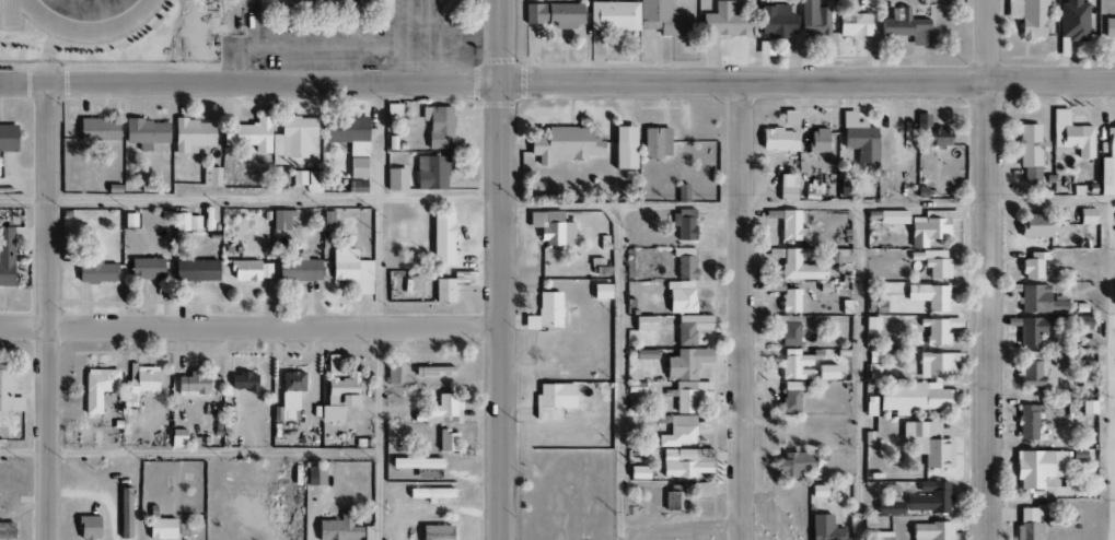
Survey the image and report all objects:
building: (369, 0)
building: (554, 14)
building: (613, 16)
building: (1027, 16)
building: (662, 17)
building: (813, 19)
building: (722, 21)
building: (775, 21)
building: (1071, 21)
building: (852, 24)
building: (904, 26)
building: (1108, 27)
stadium: (117, 28)
road: (414, 42)
building: (764, 48)
road: (557, 82)
building: (788, 118)
building: (438, 127)
building: (96, 130)
building: (144, 131)
building: (347, 133)
building: (190, 134)
building: (247, 134)
building: (291, 137)
building: (1069, 137)
building: (7, 138)
building: (858, 138)
building: (777, 140)
building: (816, 140)
building: (655, 142)
building: (564, 145)
building: (1029, 145)
building: (623, 148)
building: (1107, 165)
building: (357, 168)
building: (430, 172)
building: (1030, 175)
building: (210, 176)
building: (396, 179)
building: (306, 180)
building: (786, 187)
building: (682, 192)
road: (251, 199)
road: (808, 206)
building: (1085, 216)
building: (892, 218)
building: (278, 221)
building: (186, 222)
building: (685, 225)
building: (1032, 225)
building: (791, 226)
building: (929, 227)
building: (550, 228)
building: (440, 238)
building: (836, 256)
building: (5, 257)
building: (683, 262)
building: (936, 263)
building: (797, 265)
building: (1032, 265)
building: (144, 269)
building: (194, 270)
building: (244, 270)
building: (266, 270)
building: (299, 270)
building: (350, 270)
road: (501, 270)
road: (982, 270)
building: (95, 271)
building: (451, 285)
building: (428, 287)
building: (599, 291)
building: (932, 295)
building: (678, 296)
building: (789, 301)
building: (1039, 301)
road: (741, 310)
road: (49, 312)
road: (379, 312)
building: (545, 312)
building: (643, 322)
road: (249, 324)
building: (873, 325)
building: (689, 328)
building: (939, 329)
road: (1114, 329)
building: (788, 331)
building: (1030, 331)
building: (643, 354)
building: (684, 363)
building: (793, 365)
building: (938, 365)
road: (1112, 369)
road: (620, 373)
building: (824, 373)
road: (859, 373)
building: (391, 374)
building: (1036, 374)
building: (243, 381)
building: (291, 381)
building: (138, 384)
building: (198, 384)
building: (96, 388)
building: (685, 395)
building: (7, 397)
building: (789, 397)
building: (915, 398)
building: (551, 400)
building: (443, 407)
building: (283, 413)
building: (1027, 421)
building: (678, 432)
building: (174, 438)
building: (446, 441)
building: (929, 443)
road: (188, 451)
building: (686, 462)
building: (799, 463)
building: (1036, 467)
building: (637, 472)
building: (313, 476)
building: (702, 490)
building: (817, 491)
building: (430, 494)
building: (928, 498)
building: (888, 508)
building: (123, 513)
building: (1029, 523)
building: (85, 528)
building: (823, 528)
building: (160, 529)
building: (337, 529)
building: (929, 531)
building: (433, 532)
building: (880, 536)

